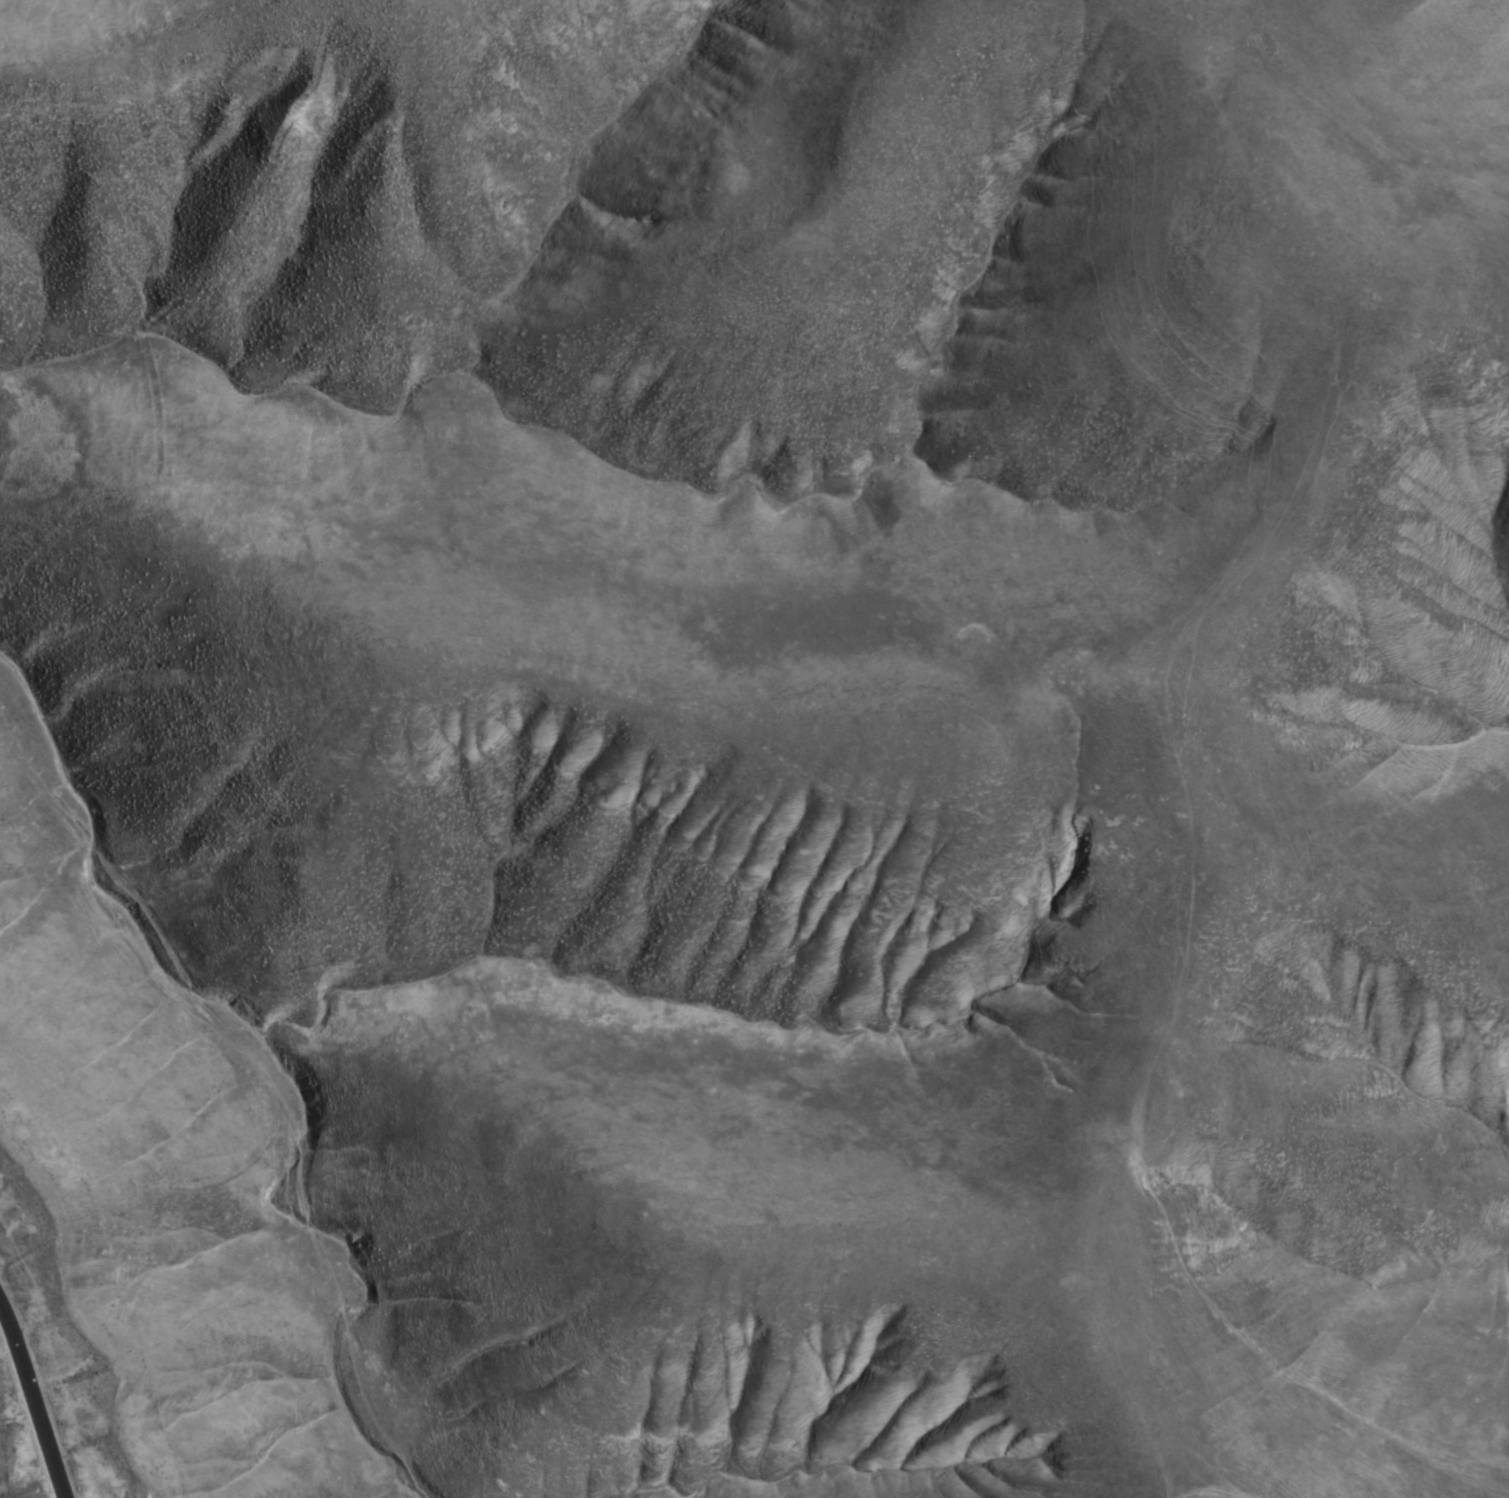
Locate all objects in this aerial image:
road: (30, 1407)

